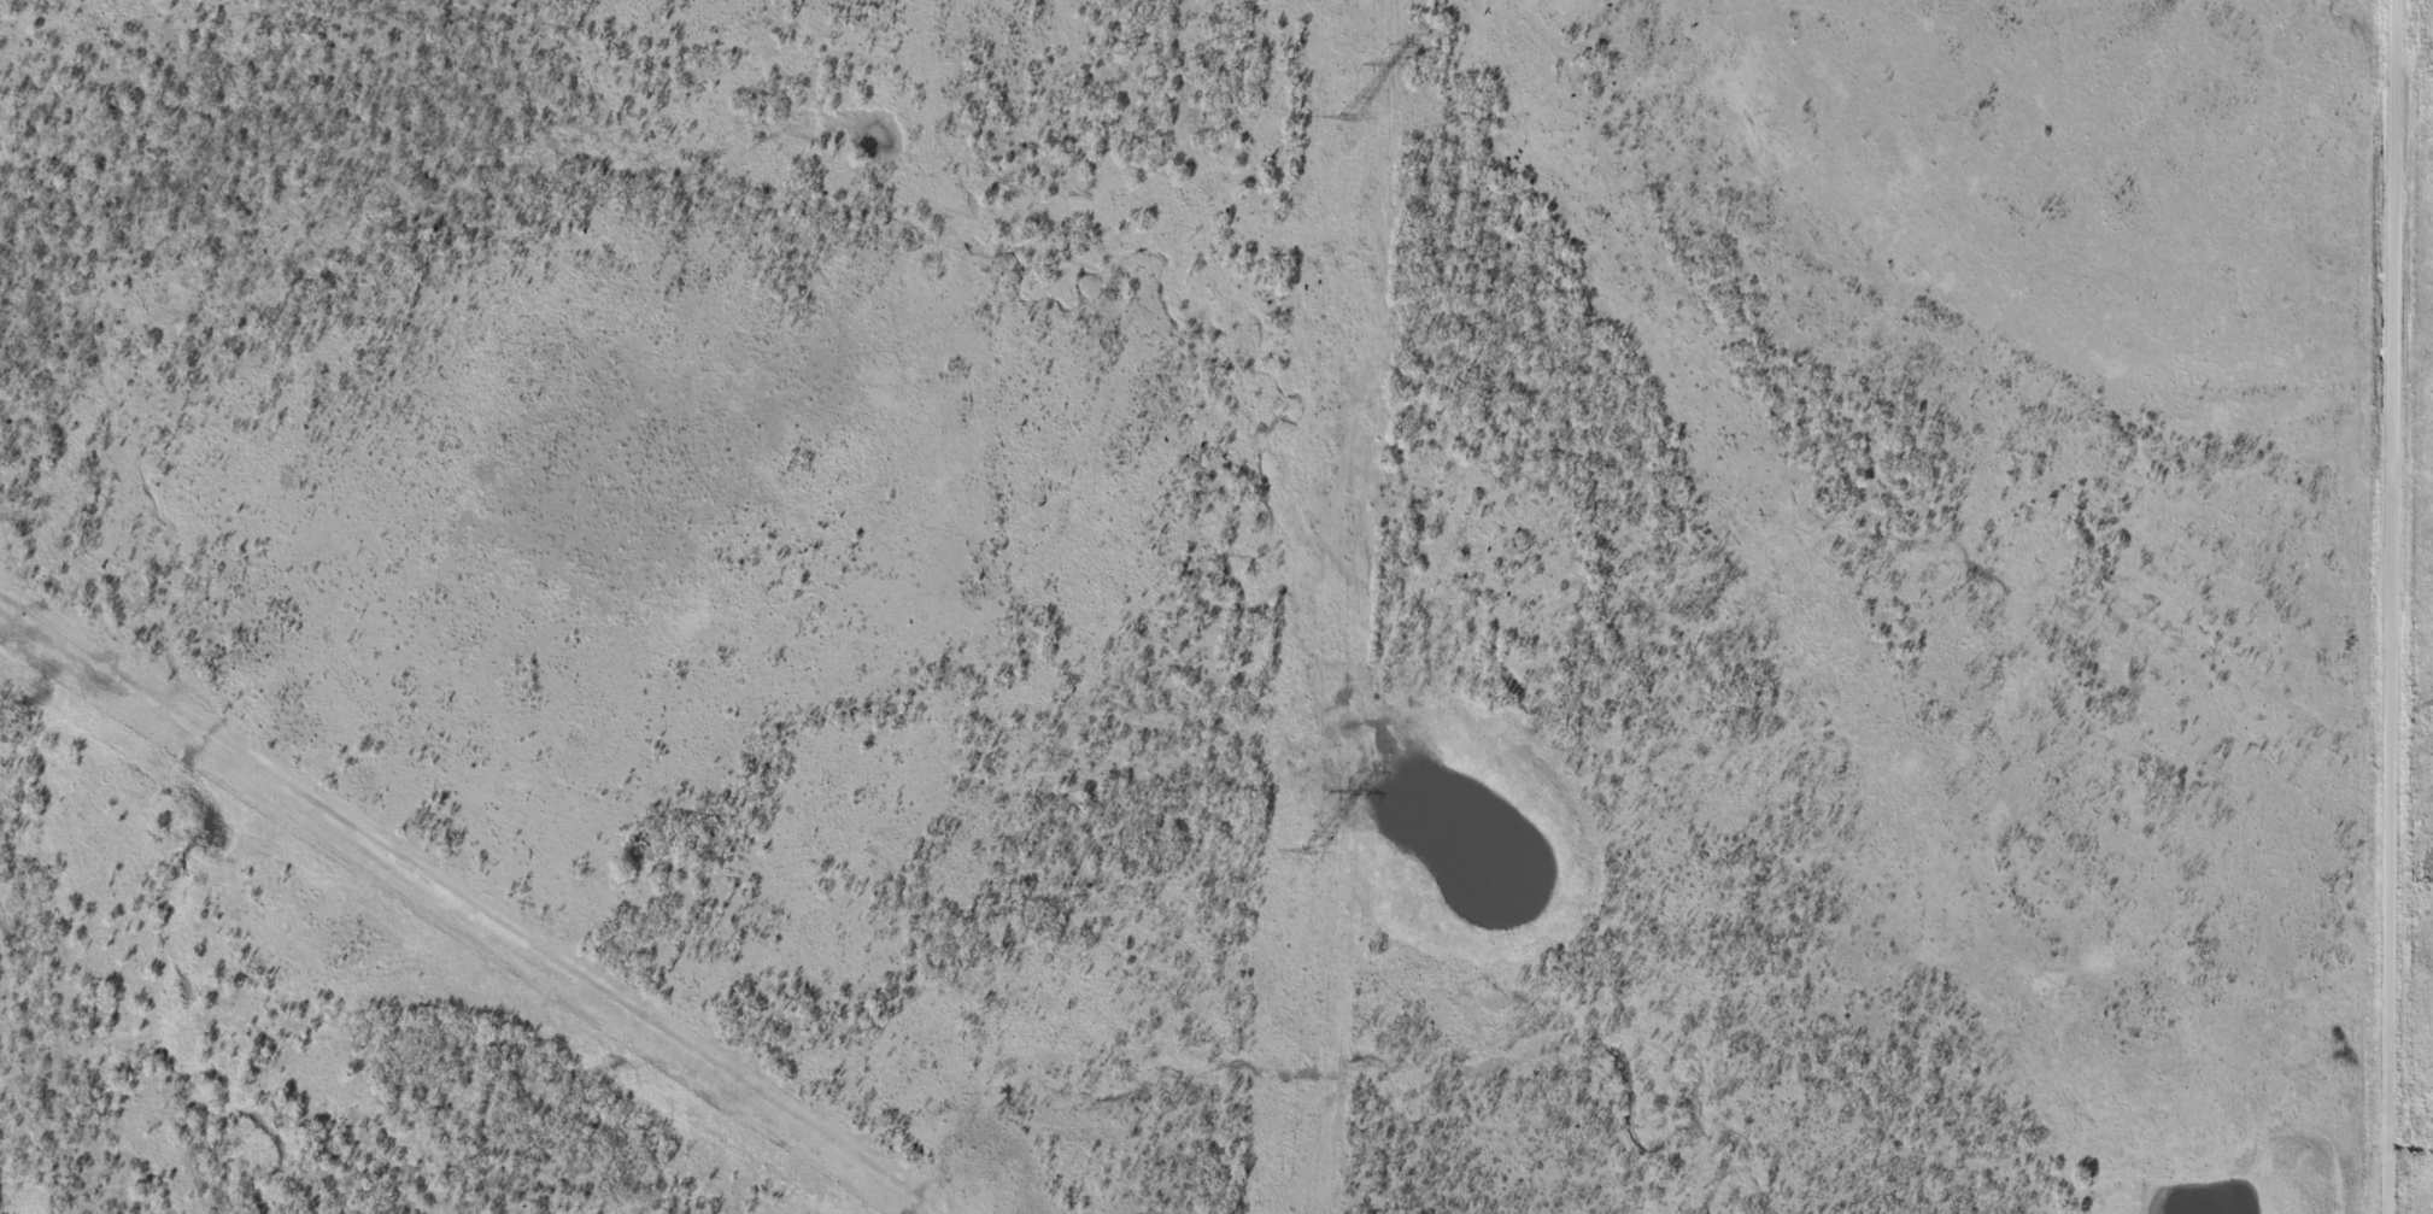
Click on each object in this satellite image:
power tower: (1347, 116)
road: (2397, 606)
power tower: (1312, 848)

